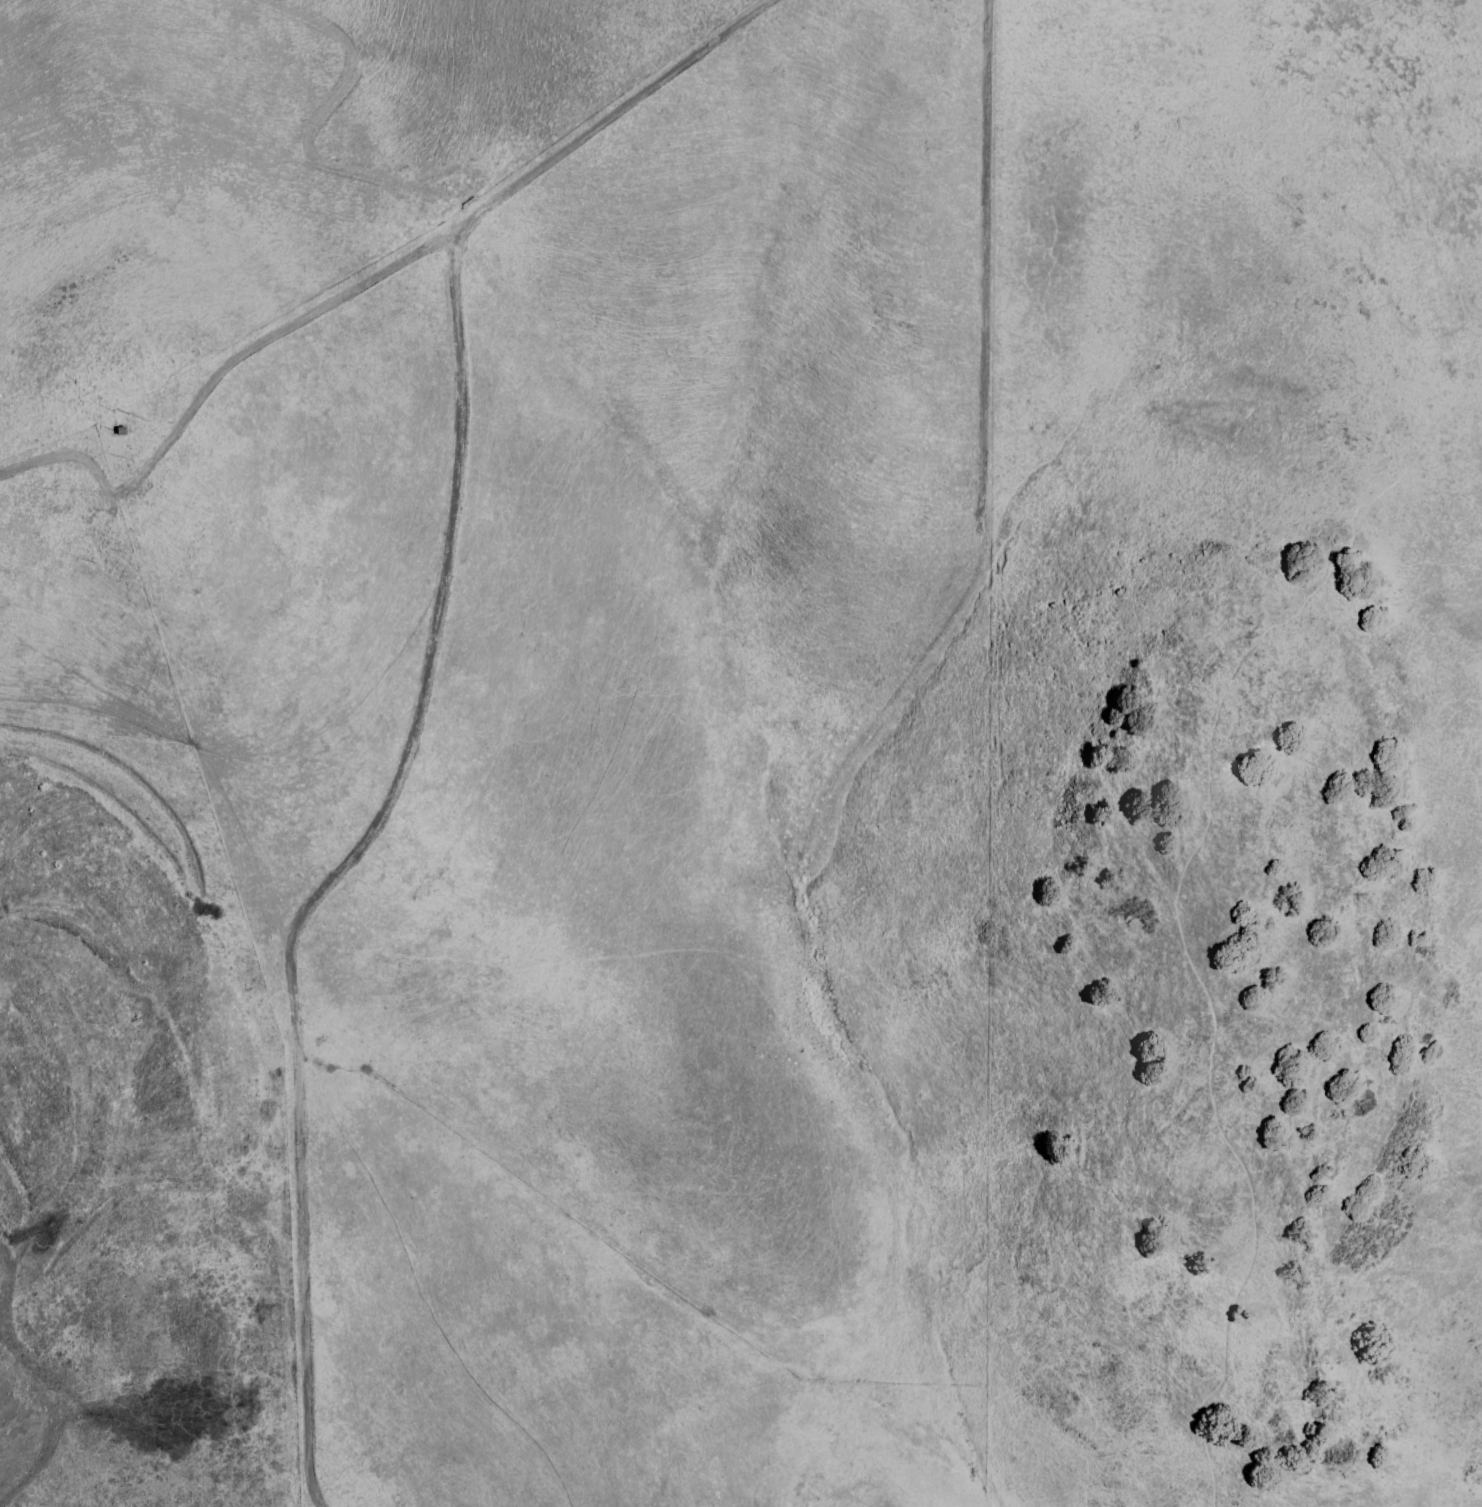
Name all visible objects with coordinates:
road: (325, 124)
road: (1213, 1030)
landfill: (102, 1043)

